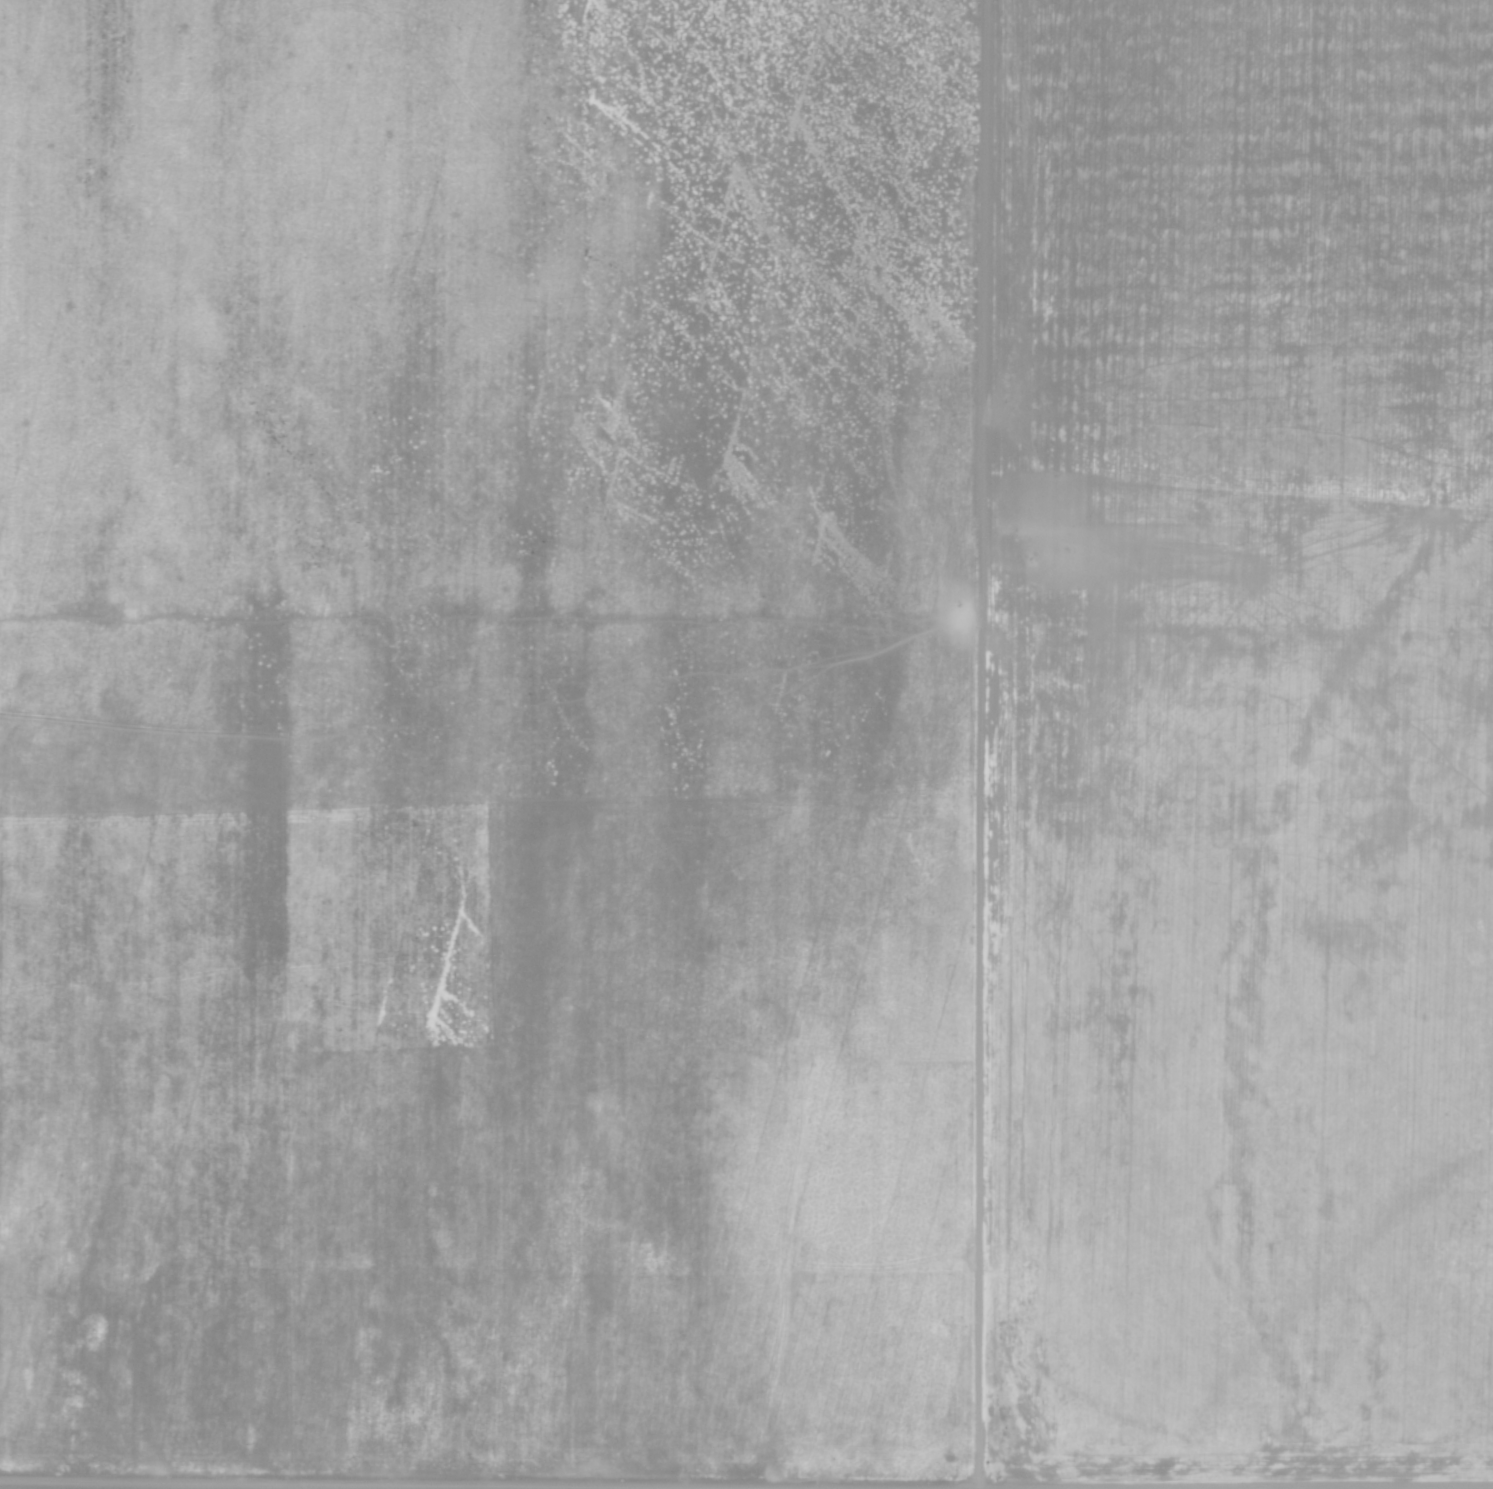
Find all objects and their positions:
road: (1062, 744)
crop: (491, 1483)
road: (399, 1484)

